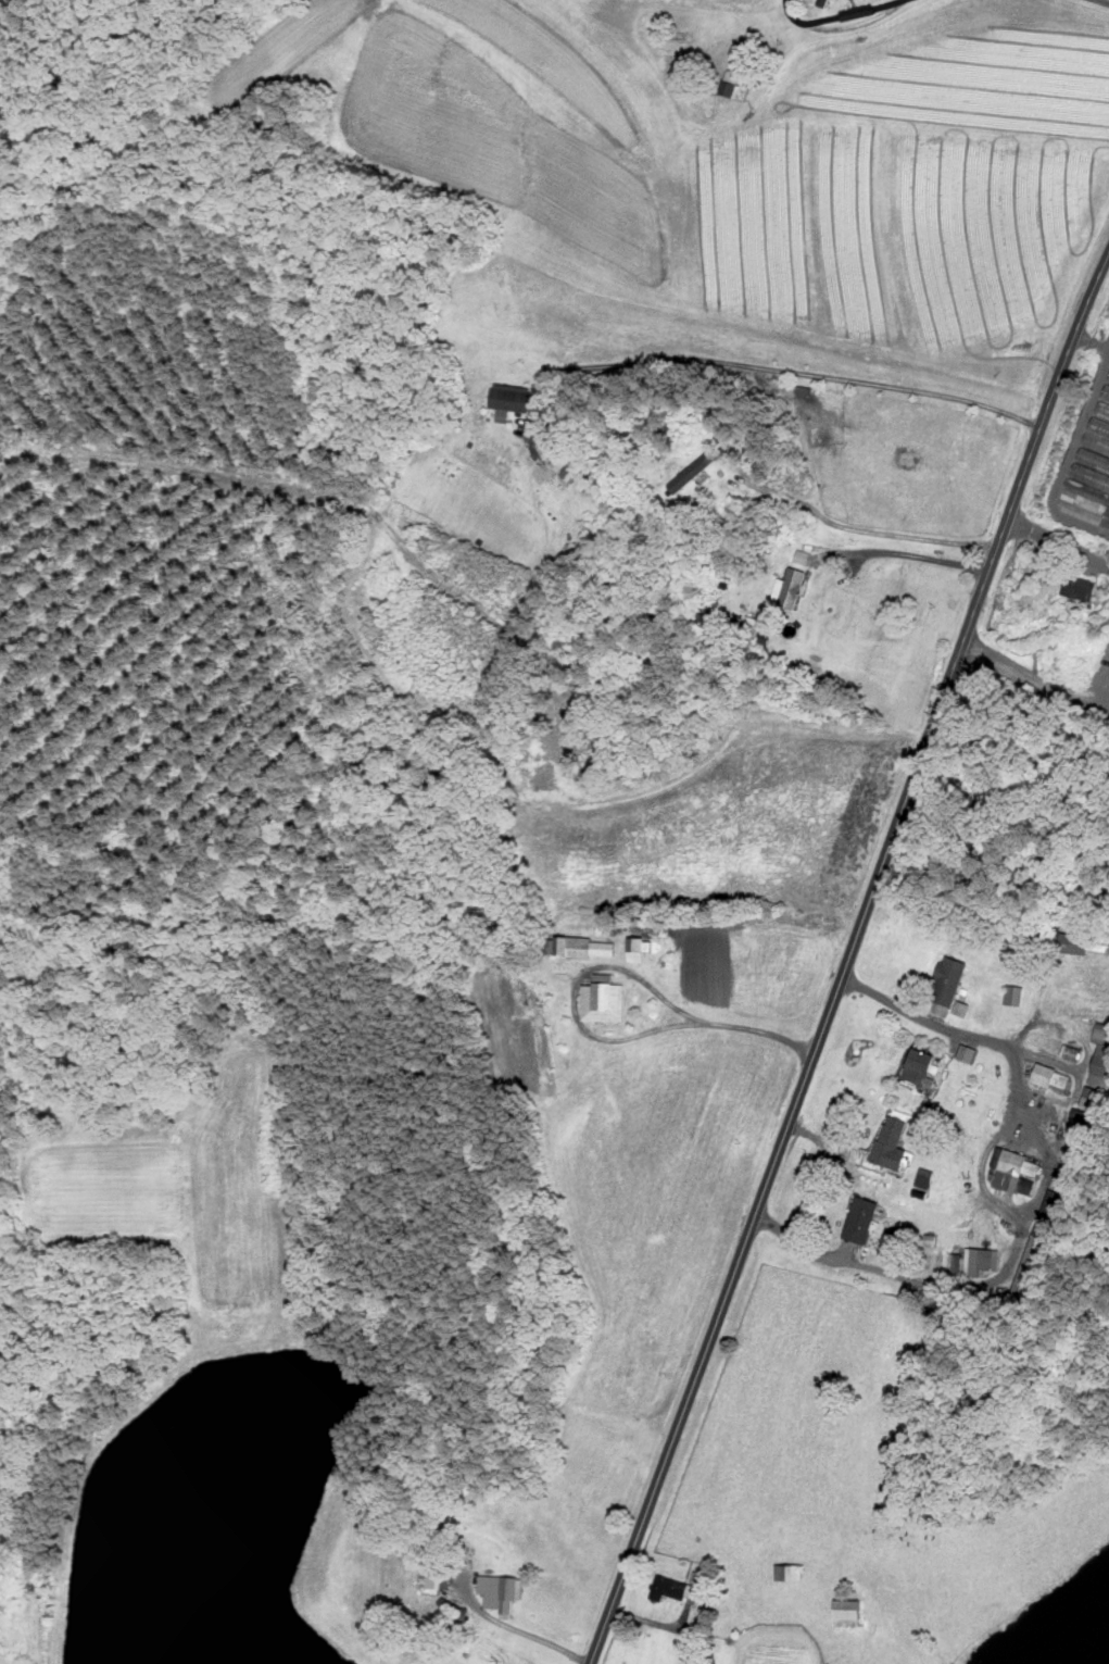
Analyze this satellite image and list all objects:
road: (1106, 0)
road: (841, 27)
building: (733, 86)
road: (1093, 339)
road: (767, 366)
building: (1108, 381)
building: (511, 398)
road: (1070, 455)
building: (1094, 455)
building: (574, 475)
building: (1107, 522)
road: (864, 528)
road: (1058, 541)
building: (795, 588)
building: (1079, 588)
building: (707, 623)
road: (1032, 679)
building: (1074, 943)
building: (638, 948)
building: (577, 949)
road: (847, 959)
road: (615, 967)
building: (948, 981)
building: (1013, 996)
building: (603, 1000)
building: (1057, 1047)
building: (1101, 1058)
building: (920, 1066)
building: (1053, 1078)
building: (1092, 1100)
road: (1005, 1123)
building: (892, 1141)
building: (1015, 1171)
building: (860, 1219)
building: (1042, 1243)
building: (980, 1261)
building: (940, 1264)
road: (906, 1276)
building: (787, 1573)
building: (675, 1589)
building: (500, 1592)
building: (848, 1613)
road: (520, 1629)

